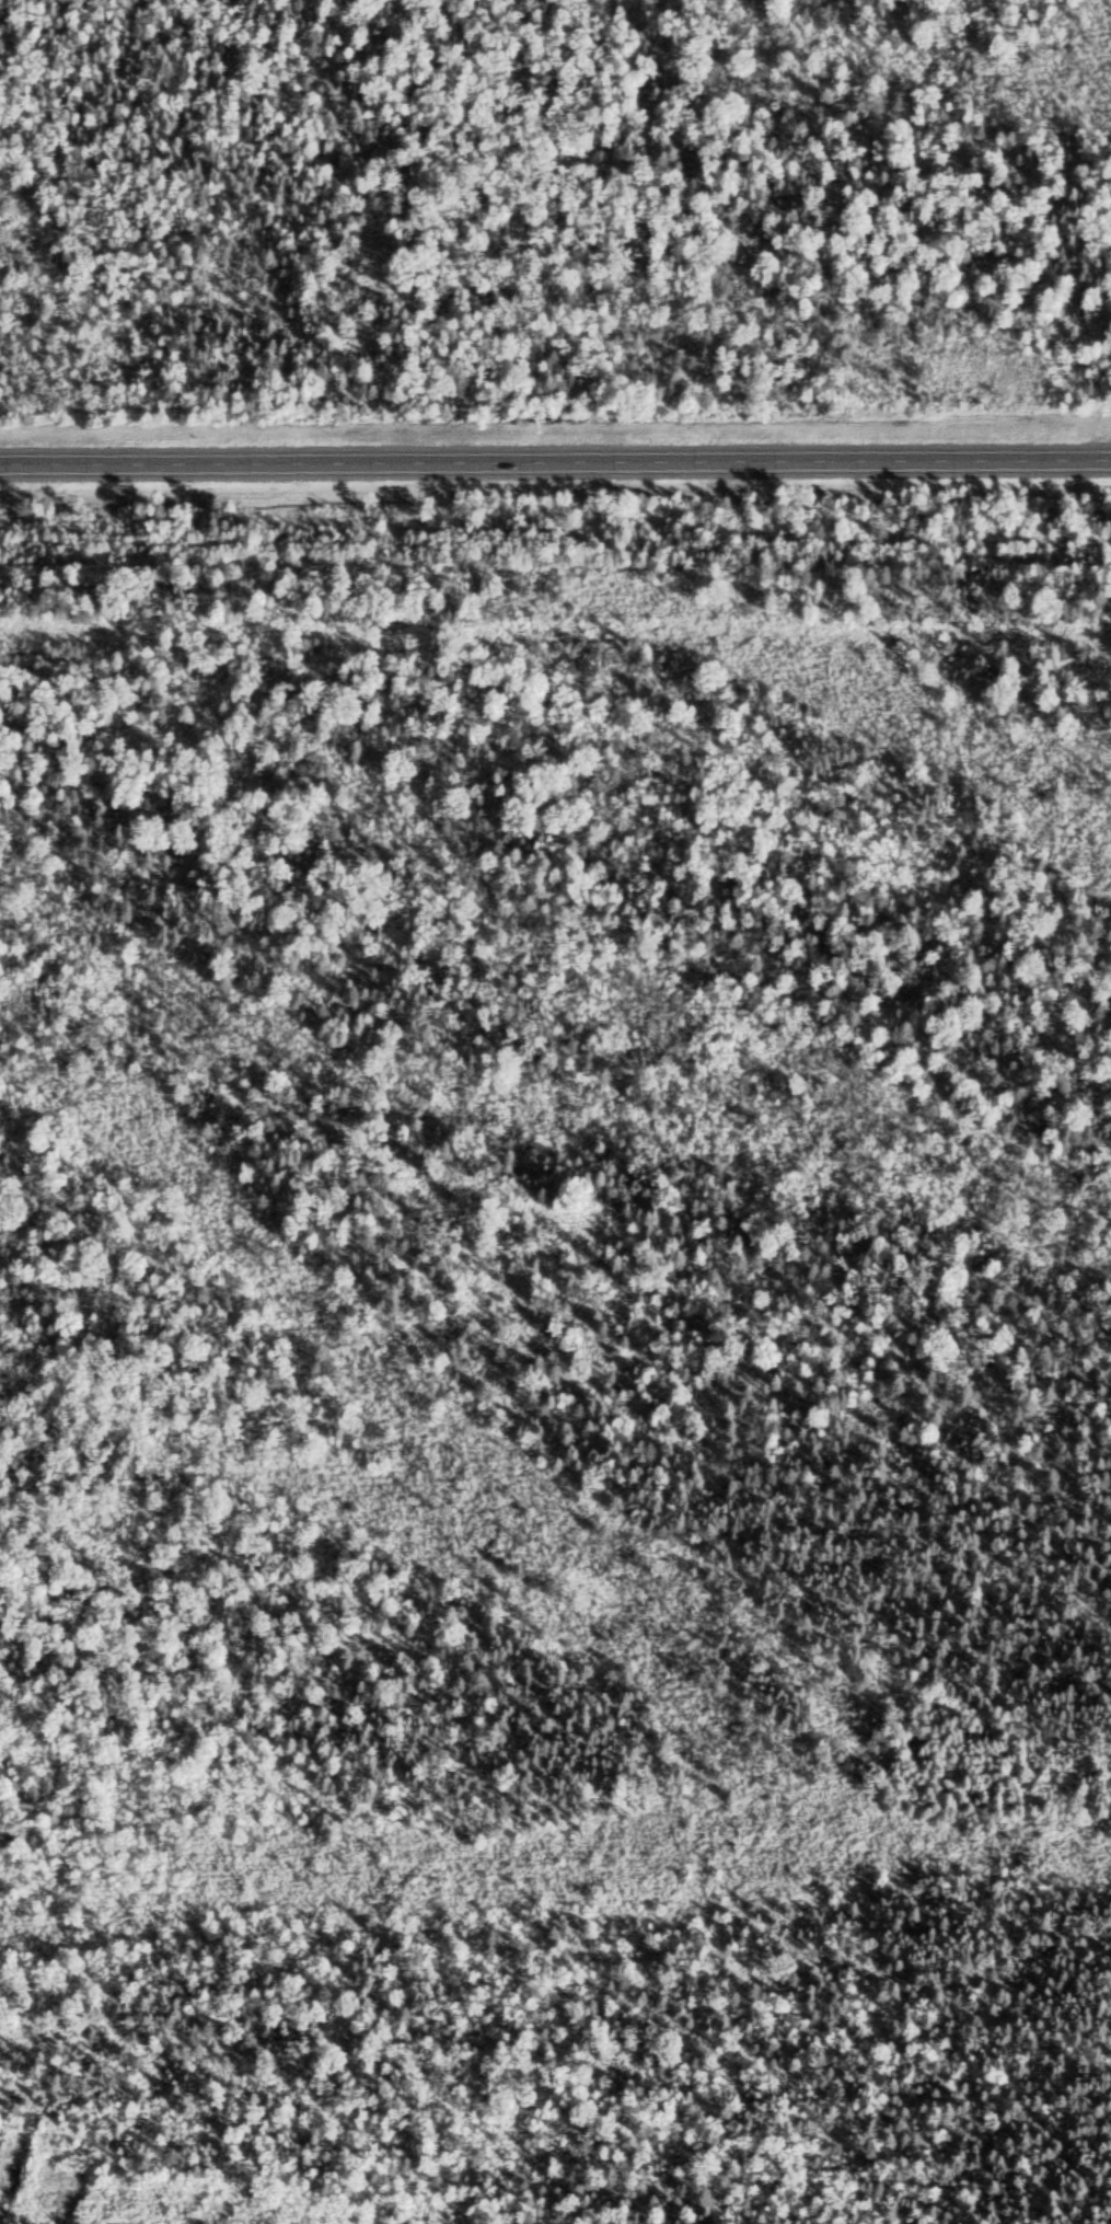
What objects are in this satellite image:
road: (555, 458)

